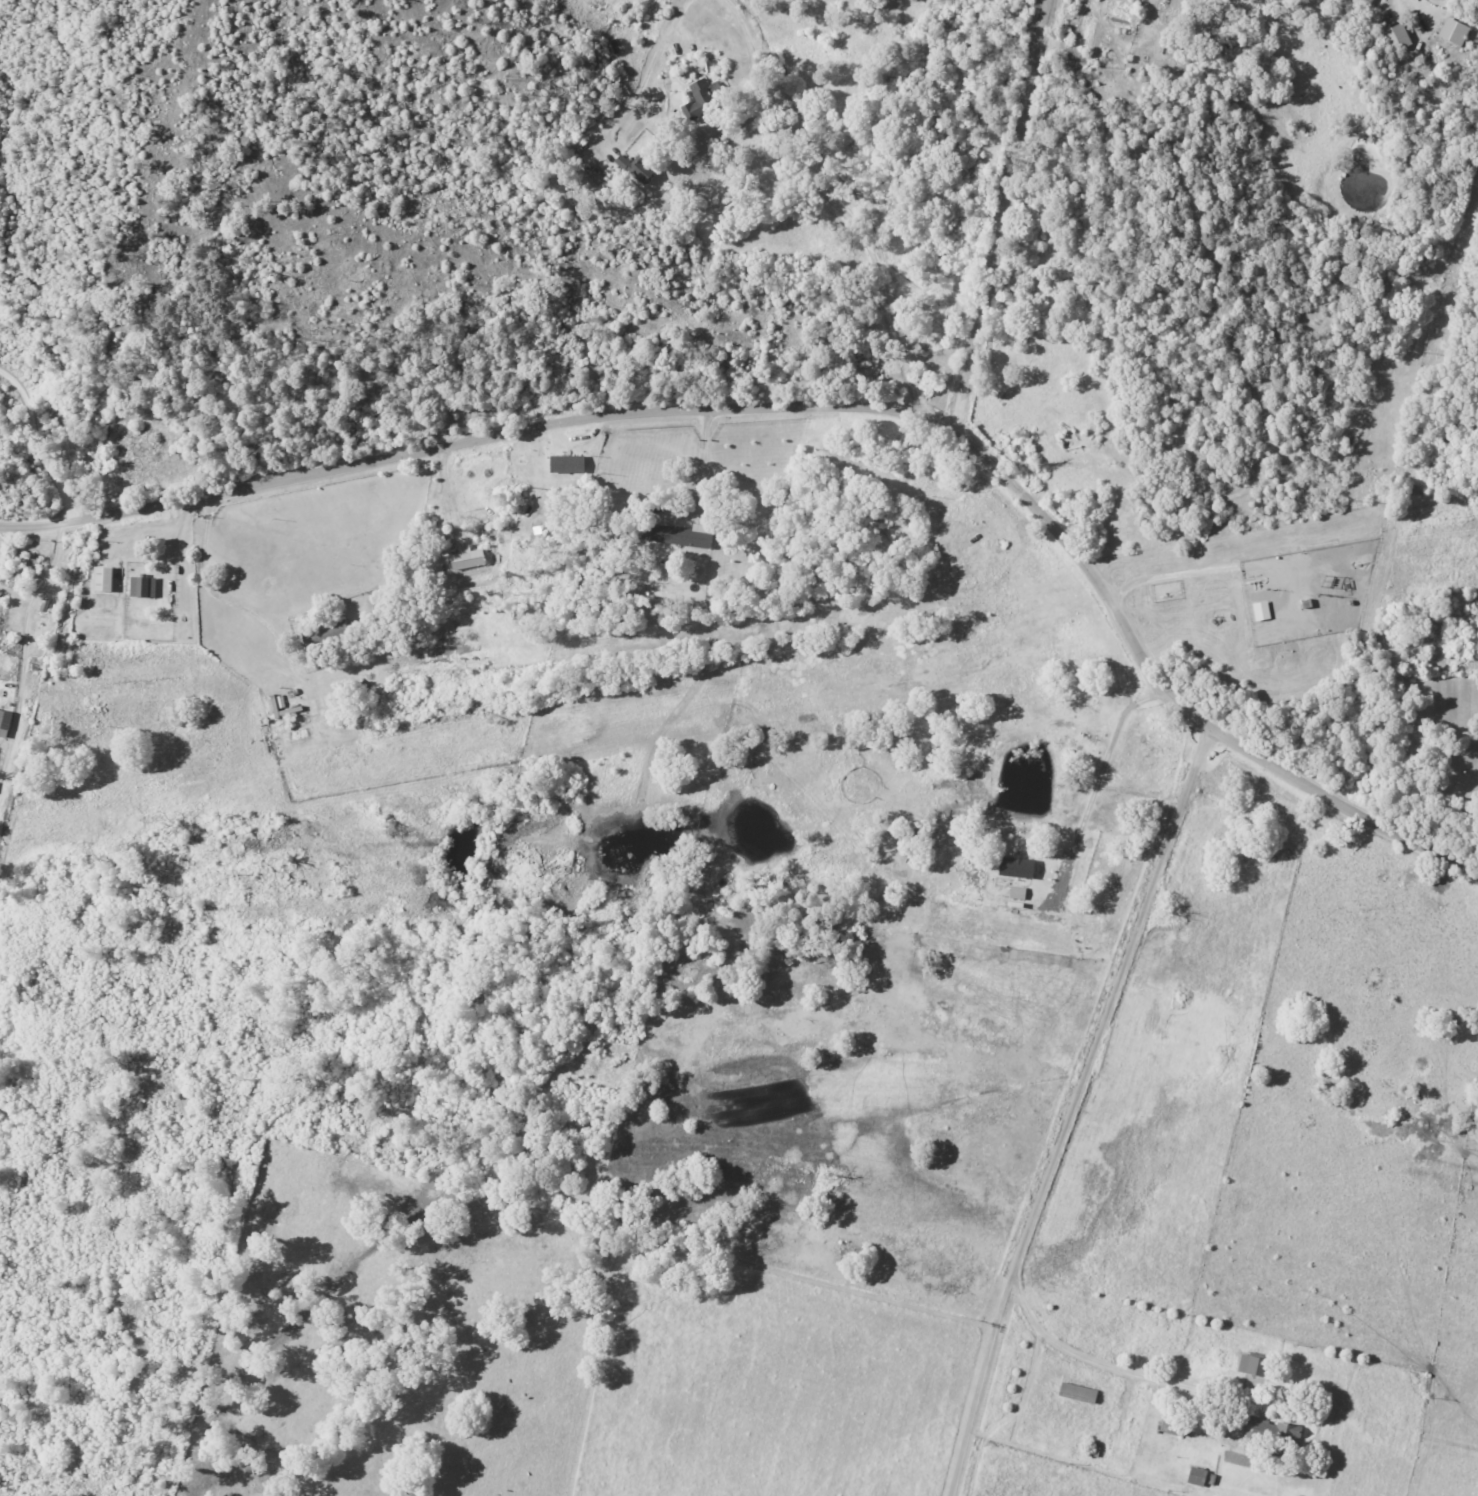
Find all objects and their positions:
building: (915, 0)
road: (1414, 6)
building: (1454, 31)
building: (1397, 37)
road: (653, 68)
building: (636, 168)
road: (844, 203)
road: (1000, 218)
road: (821, 415)
road: (39, 456)
road: (704, 460)
building: (568, 463)
building: (683, 535)
building: (467, 557)
road: (1196, 570)
building: (103, 579)
road: (206, 583)
building: (143, 587)
building: (1261, 610)
road: (24, 661)
building: (5, 722)
road: (1101, 776)
building: (1016, 867)
building: (1018, 892)
road: (1108, 1012)
building: (1254, 1365)
road: (1145, 1371)
road: (978, 1395)
building: (1272, 1434)

